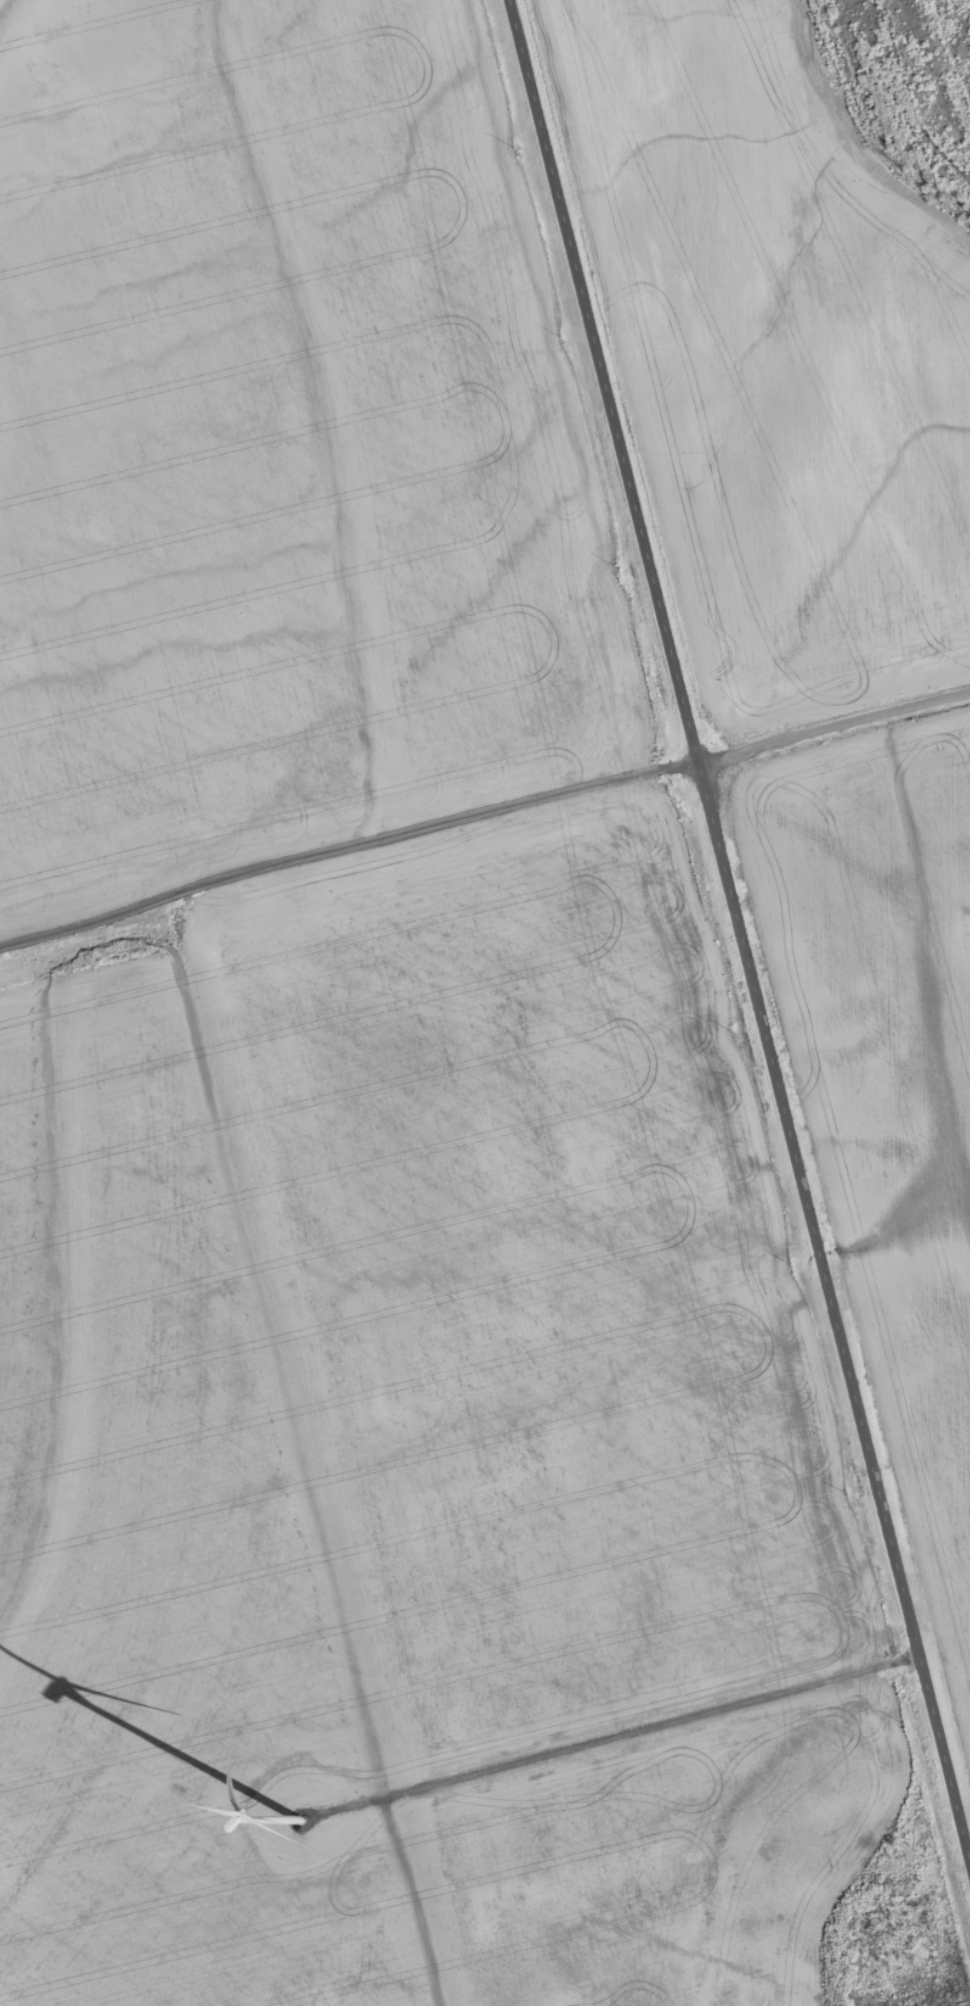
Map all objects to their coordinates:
road: (833, 721)
road: (348, 841)
road: (738, 928)
wind turbine: (295, 1822)

